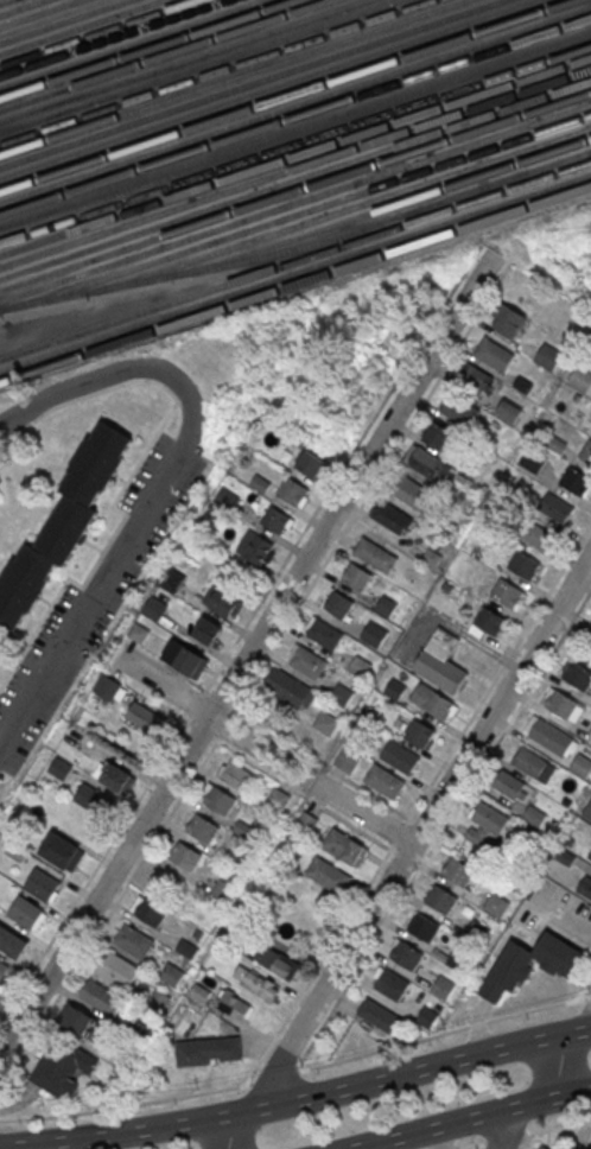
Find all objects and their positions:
railway: (2, 0)
railway: (20, 6)
railway: (39, 13)
railway: (62, 20)
railway: (81, 26)
railway: (96, 32)
railway: (114, 38)
railway: (131, 43)
railway: (146, 49)
railway: (164, 53)
railway: (180, 59)
railway: (198, 65)
railway: (214, 70)
railway: (230, 76)
railway: (249, 83)
railway: (267, 89)
railway: (286, 95)
railway: (295, 103)
railway: (295, 115)
railway: (295, 127)
railway: (295, 144)
railway: (295, 155)
railway: (295, 167)
railway: (295, 178)
railway: (295, 191)
railway: (295, 201)
railway: (381, 207)
railway: (339, 210)
railway: (295, 214)
railway: (299, 246)
railway: (295, 260)
railway: (295, 272)
railway: (295, 283)
building: (507, 318)
building: (495, 354)
building: (548, 357)
building: (476, 375)
building: (582, 379)
building: (522, 383)
building: (460, 410)
building: (508, 410)
building: (438, 434)
building: (586, 452)
building: (533, 459)
building: (312, 464)
building: (431, 465)
road: (339, 470)
road: (132, 472)
building: (0, 477)
building: (576, 480)
road: (373, 485)
road: (158, 488)
building: (293, 491)
building: (412, 493)
building: (555, 508)
building: (393, 519)
building: (277, 520)
building: (62, 522)
building: (445, 528)
building: (534, 534)
building: (256, 548)
building: (376, 556)
building: (432, 557)
building: (523, 564)
building: (357, 577)
building: (171, 578)
building: (447, 586)
building: (507, 591)
parking lot: (93, 597)
building: (224, 604)
building: (339, 605)
building: (154, 607)
building: (386, 607)
building: (590, 620)
building: (491, 621)
building: (138, 631)
building: (209, 633)
building: (326, 634)
building: (375, 635)
road: (243, 658)
building: (186, 659)
building: (440, 660)
road: (167, 664)
building: (310, 664)
building: (361, 667)
road: (497, 674)
building: (577, 675)
building: (395, 686)
building: (109, 687)
building: (288, 687)
building: (343, 696)
road: (221, 697)
building: (433, 702)
road: (196, 703)
building: (563, 705)
road: (177, 711)
building: (145, 717)
road: (510, 719)
road: (228, 722)
building: (326, 723)
road: (203, 726)
building: (420, 732)
road: (216, 735)
building: (549, 735)
building: (589, 736)
road: (265, 748)
building: (400, 756)
building: (348, 758)
road: (320, 761)
building: (533, 764)
building: (580, 764)
building: (59, 767)
building: (236, 775)
building: (114, 776)
building: (383, 780)
building: (513, 786)
road: (306, 793)
building: (90, 796)
building: (221, 799)
building: (277, 799)
building: (587, 811)
building: (534, 815)
building: (306, 820)
building: (485, 826)
building: (203, 827)
road: (399, 833)
building: (345, 846)
building: (15, 850)
building: (62, 850)
road: (407, 851)
road: (400, 852)
building: (185, 856)
building: (566, 856)
road: (95, 869)
building: (458, 870)
building: (328, 874)
building: (42, 883)
building: (585, 887)
building: (223, 890)
building: (441, 899)
building: (496, 904)
building: (152, 910)
building: (26, 912)
road: (109, 912)
building: (425, 926)
building: (13, 940)
building: (134, 940)
building: (188, 947)
building: (440, 953)
building: (406, 954)
building: (277, 960)
road: (318, 963)
building: (530, 963)
building: (2, 967)
building: (117, 970)
building: (172, 973)
building: (256, 982)
building: (390, 983)
building: (443, 986)
road: (585, 990)
building: (199, 992)
building: (101, 997)
road: (589, 997)
building: (159, 998)
building: (234, 1007)
building: (379, 1015)
building: (427, 1016)
building: (77, 1017)
building: (209, 1050)
road: (566, 1056)
building: (63, 1066)
road: (314, 1066)
road: (272, 1078)
road: (298, 1099)
road: (126, 1105)
road: (470, 1118)
road: (555, 1124)
road: (507, 1128)
road: (504, 1138)
road: (476, 1145)
building: (540, 1147)
building: (580, 1147)

